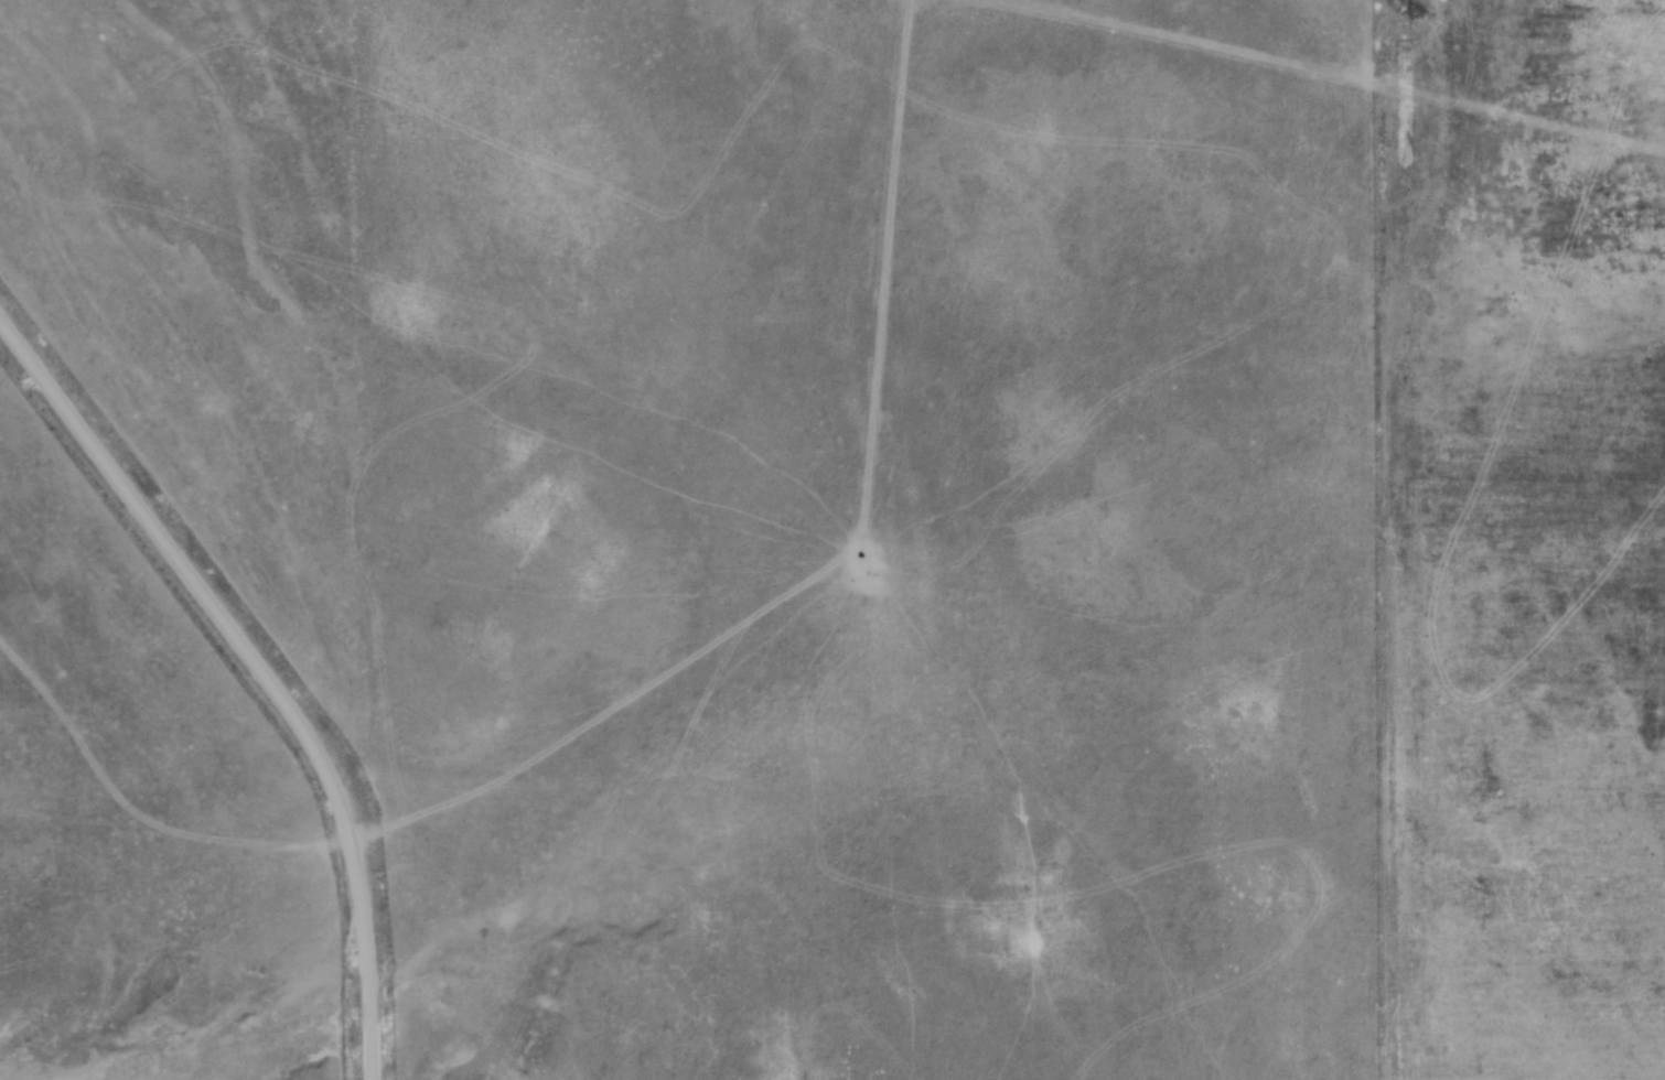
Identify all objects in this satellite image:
road: (264, 666)

